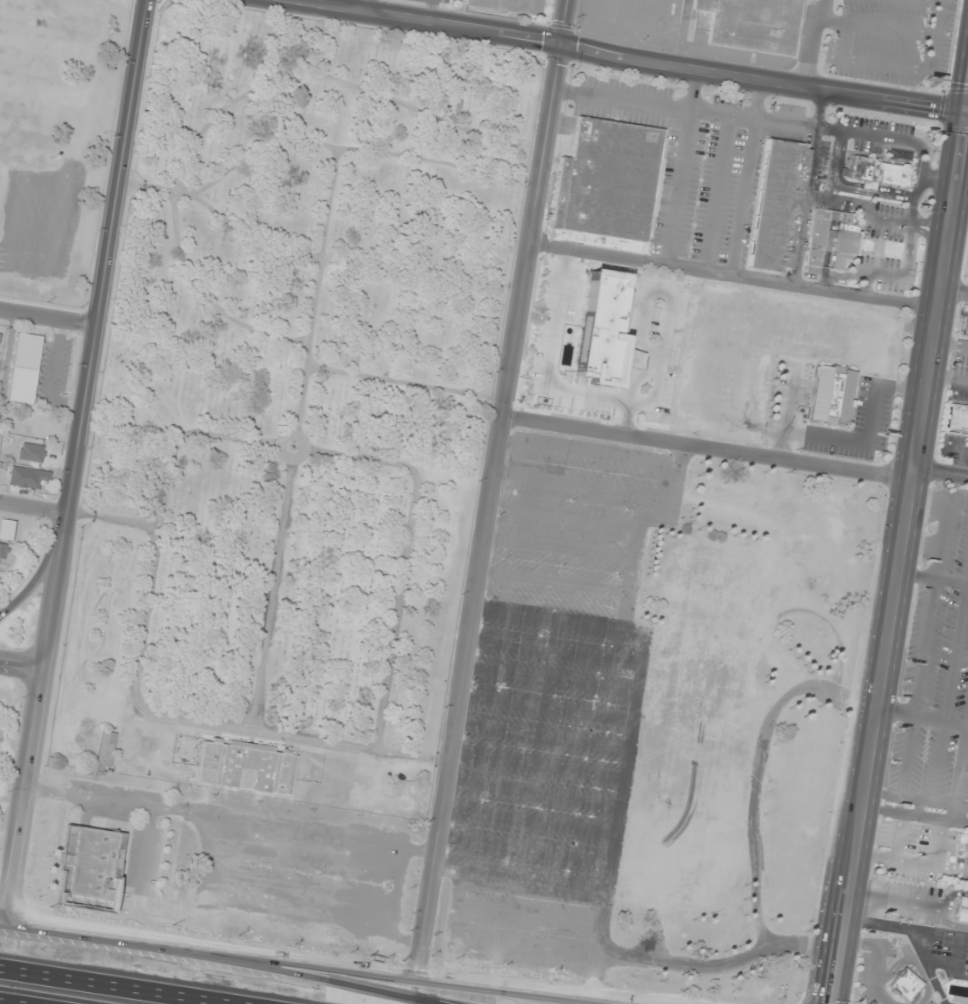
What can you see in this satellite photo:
road: (366, 6)
building: (509, 7)
road: (429, 11)
building: (753, 24)
road: (812, 40)
traffic signals: (560, 42)
road: (626, 53)
road: (843, 131)
building: (900, 155)
road: (124, 163)
road: (683, 165)
road: (840, 165)
building: (876, 173)
road: (747, 175)
road: (808, 184)
building: (606, 186)
road: (867, 186)
road: (895, 190)
road: (717, 193)
building: (777, 205)
road: (834, 206)
road: (832, 216)
road: (875, 219)
road: (831, 225)
building: (830, 238)
road: (829, 241)
road: (825, 270)
road: (732, 275)
road: (866, 283)
road: (953, 292)
road: (50, 319)
building: (964, 329)
building: (0, 336)
building: (582, 341)
building: (769, 349)
building: (25, 368)
park: (298, 381)
building: (834, 395)
building: (956, 420)
road: (705, 448)
building: (33, 449)
road: (597, 451)
road: (940, 474)
building: (25, 477)
road: (582, 484)
road: (488, 486)
road: (34, 506)
road: (563, 513)
road: (945, 528)
building: (7, 530)
road: (558, 547)
building: (3, 552)
road: (900, 559)
road: (41, 569)
road: (917, 576)
road: (553, 580)
road: (952, 581)
road: (548, 616)
road: (50, 622)
road: (927, 646)
road: (957, 650)
road: (554, 651)
road: (21, 664)
road: (550, 679)
road: (635, 699)
parking lot: (555, 702)
road: (546, 708)
road: (897, 710)
road: (942, 716)
building: (696, 722)
road: (542, 736)
building: (106, 749)
road: (910, 755)
road: (939, 759)
road: (538, 763)
building: (247, 766)
road: (962, 766)
road: (533, 792)
road: (911, 797)
road: (962, 805)
road: (919, 806)
road: (908, 812)
road: (955, 812)
road: (529, 820)
road: (961, 820)
road: (897, 834)
road: (525, 849)
road: (875, 854)
road: (934, 861)
building: (964, 866)
building: (92, 867)
road: (521, 878)
road: (894, 898)
road: (938, 907)
building: (959, 909)
road: (529, 913)
road: (914, 937)
road: (494, 943)
road: (957, 960)
road: (326, 961)
road: (222, 965)
building: (904, 985)
road: (115, 986)
road: (12, 1002)

